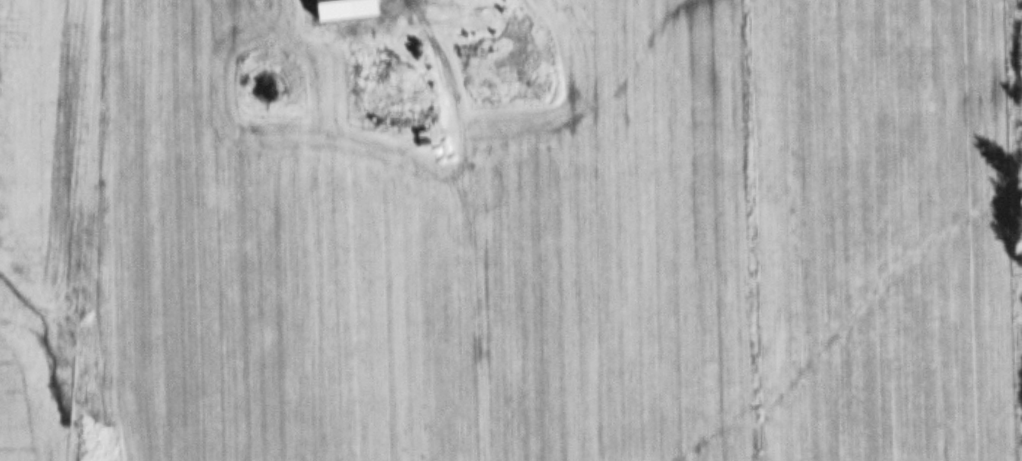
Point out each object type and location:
building: (355, 7)

